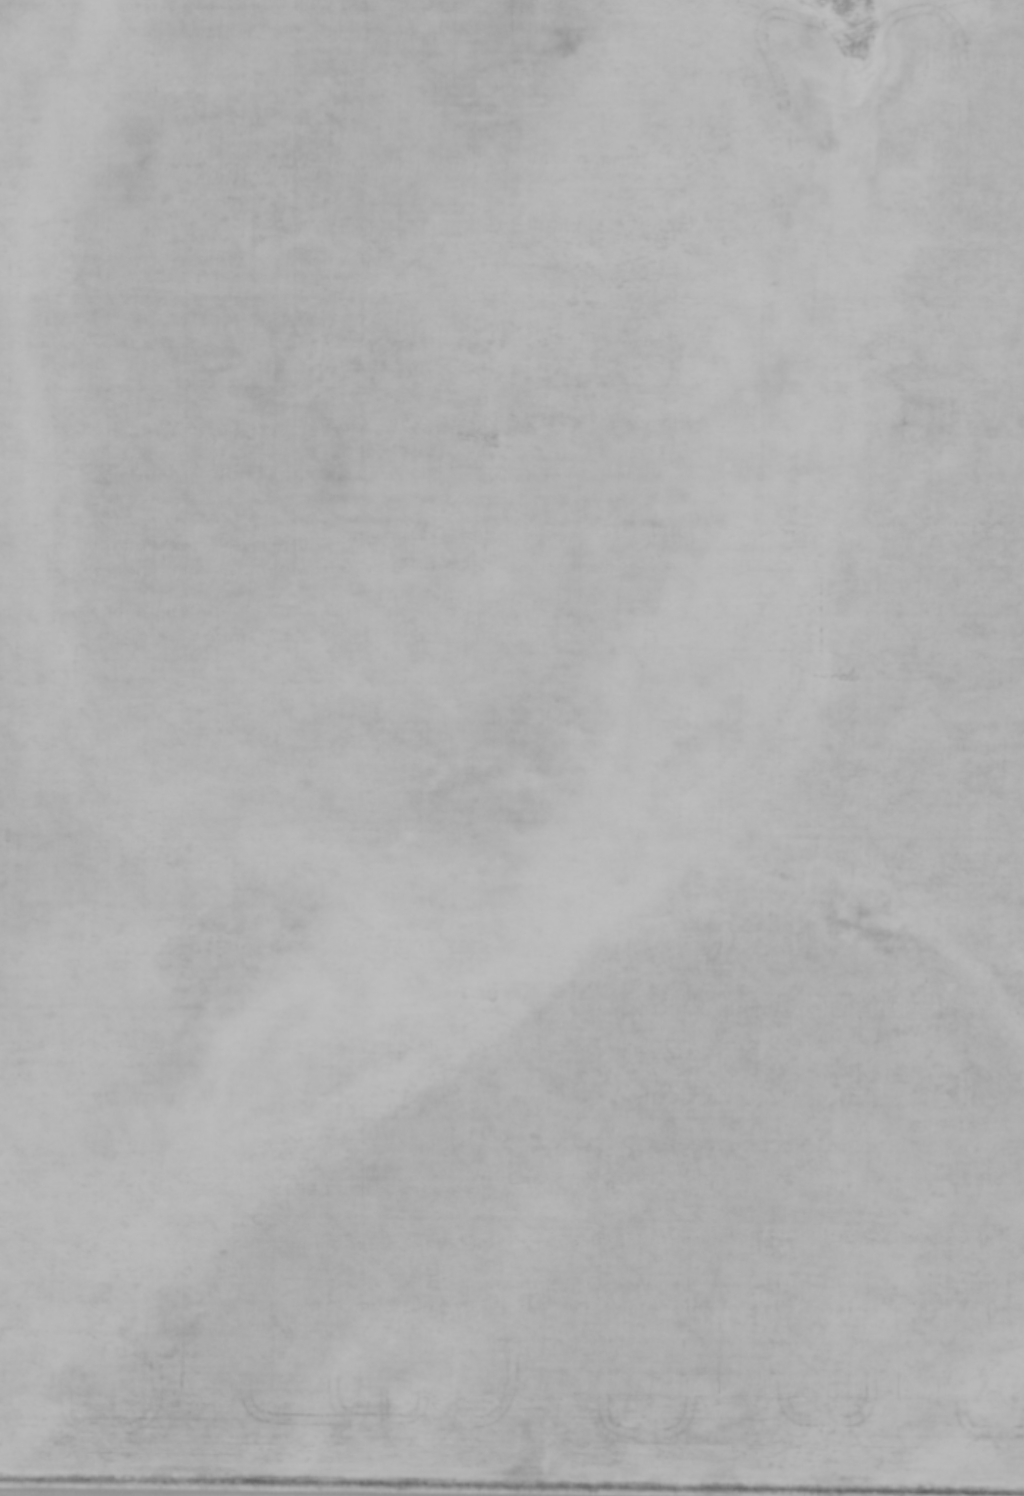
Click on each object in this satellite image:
road: (12, 1495)

